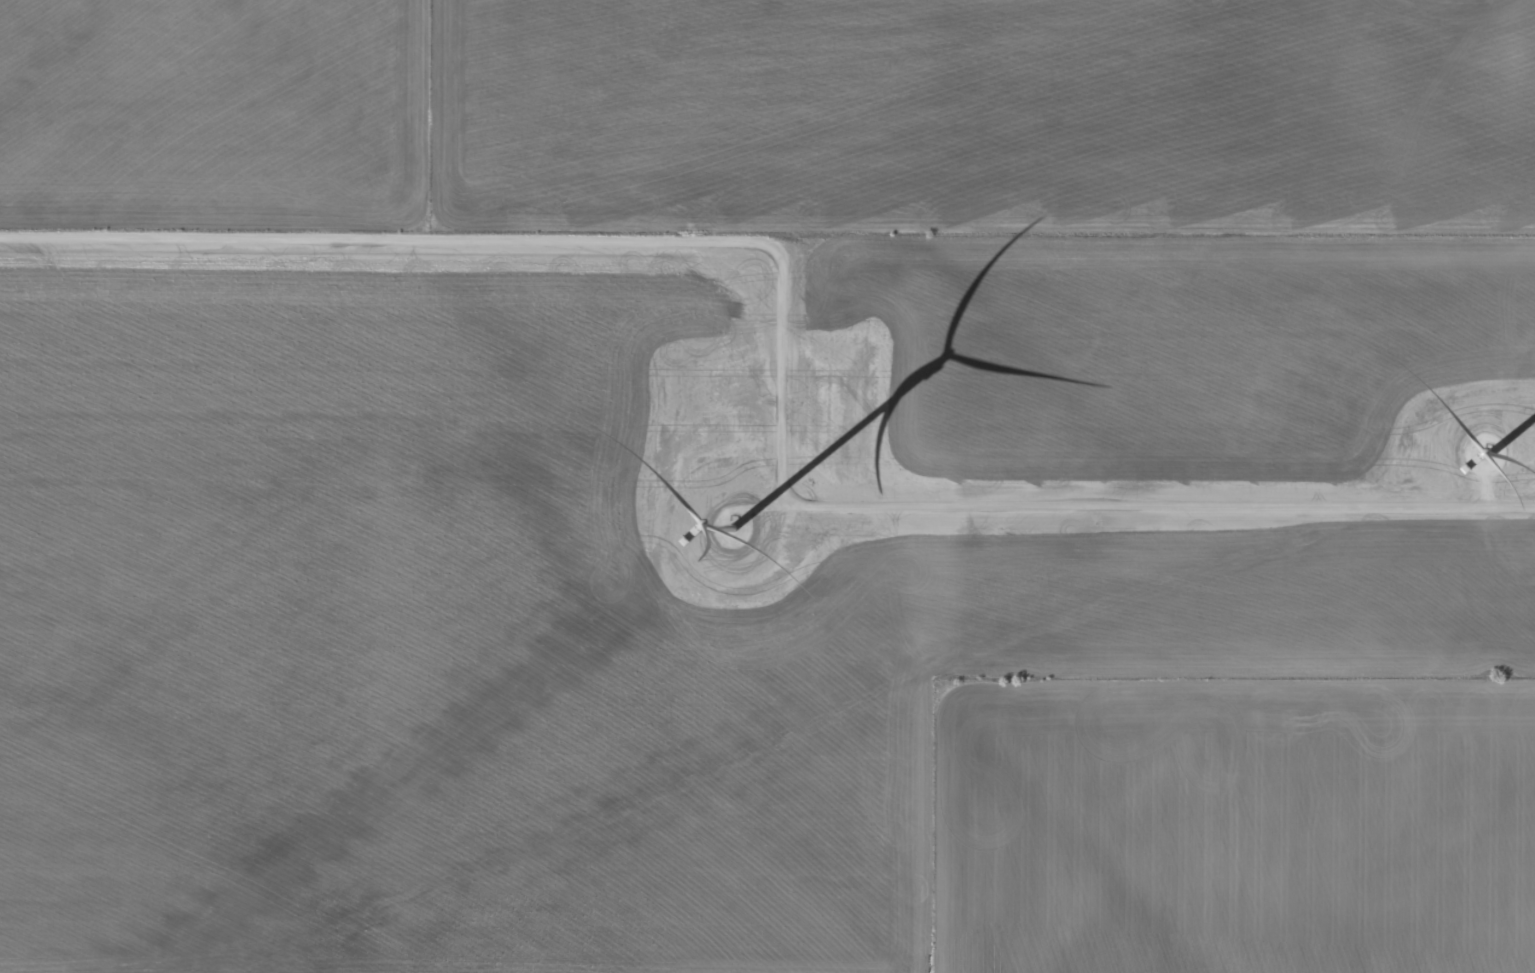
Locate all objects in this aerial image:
wind turbine: (1487, 455)
wind turbine: (728, 534)

